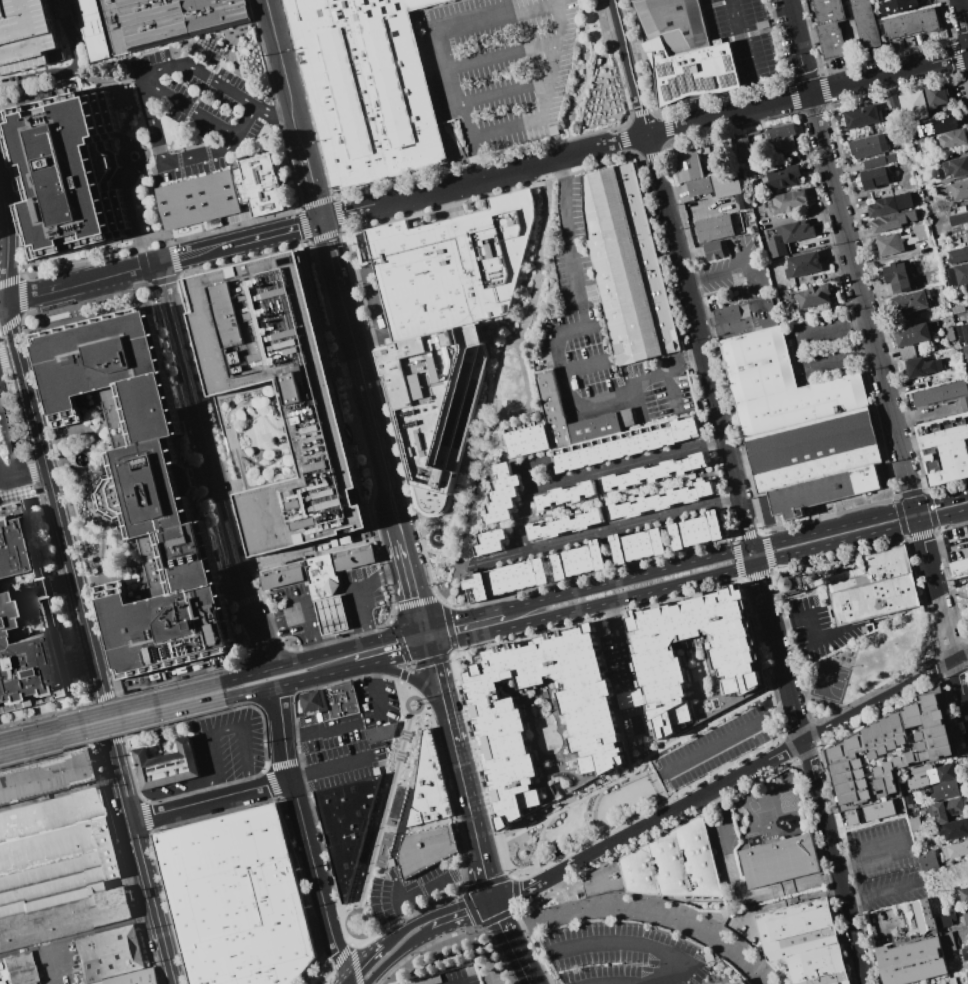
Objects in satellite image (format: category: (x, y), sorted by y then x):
road: (505, 6)
building: (897, 6)
road: (497, 14)
road: (964, 14)
building: (151, 22)
building: (865, 24)
building: (911, 24)
road: (582, 27)
building: (830, 27)
building: (24, 33)
parking lot: (24, 33)
road: (69, 34)
parking lot: (744, 37)
building: (682, 52)
road: (501, 54)
road: (740, 54)
road: (557, 63)
road: (628, 67)
road: (441, 68)
road: (287, 73)
road: (36, 74)
park: (590, 79)
road: (107, 80)
building: (368, 87)
road: (501, 93)
road: (806, 94)
building: (936, 94)
road: (579, 96)
building: (893, 101)
building: (914, 106)
road: (190, 108)
road: (273, 109)
parking lot: (192, 112)
road: (152, 116)
building: (861, 116)
building: (935, 127)
road: (486, 134)
building: (782, 135)
building: (952, 138)
building: (869, 145)
building: (775, 146)
building: (743, 148)
road: (593, 149)
fountain: (135, 158)
building: (874, 162)
building: (687, 165)
building: (956, 167)
building: (65, 172)
building: (783, 177)
building: (874, 177)
street lamp: (538, 181)
road: (314, 182)
building: (258, 185)
building: (706, 185)
building: (744, 185)
road: (432, 190)
building: (959, 190)
building: (196, 200)
building: (789, 201)
street lamp: (541, 204)
building: (889, 205)
traffic signals: (323, 218)
building: (958, 219)
building: (892, 221)
building: (715, 227)
road: (565, 230)
street lamp: (535, 232)
building: (967, 234)
building: (789, 236)
building: (901, 240)
road: (7, 245)
road: (331, 250)
building: (716, 250)
road: (537, 254)
building: (958, 255)
road: (163, 259)
street lamp: (532, 263)
building: (803, 264)
building: (626, 266)
building: (451, 267)
road: (731, 269)
building: (899, 275)
building: (958, 275)
street lamp: (529, 294)
building: (814, 296)
road: (20, 297)
road: (2, 300)
building: (911, 301)
road: (2, 303)
road: (578, 305)
building: (838, 307)
building: (958, 309)
road: (580, 311)
building: (751, 313)
road: (581, 318)
building: (907, 321)
street lamp: (519, 323)
building: (962, 333)
building: (950, 334)
building: (912, 335)
road: (515, 347)
street lamp: (501, 349)
building: (907, 352)
road: (791, 353)
building: (966, 354)
road: (876, 357)
road: (2, 360)
road: (8, 361)
road: (582, 364)
building: (922, 366)
road: (662, 369)
street lamp: (493, 375)
building: (967, 377)
building: (780, 385)
building: (943, 394)
road: (368, 400)
street lamp: (494, 400)
road: (573, 400)
building: (276, 403)
building: (434, 404)
building: (553, 410)
road: (922, 412)
road: (16, 414)
road: (9, 433)
building: (527, 438)
road: (723, 438)
building: (624, 444)
building: (944, 448)
building: (812, 449)
road: (481, 456)
street lamp: (480, 457)
fountain: (79, 459)
road: (209, 466)
road: (34, 473)
road: (594, 473)
building: (655, 473)
road: (31, 474)
road: (11, 480)
street lamp: (470, 485)
building: (140, 490)
building: (823, 491)
road: (17, 492)
building: (501, 495)
building: (566, 495)
building: (661, 500)
street lamp: (459, 505)
road: (68, 506)
traffic signals: (914, 508)
road: (454, 510)
traffic signals: (918, 520)
road: (438, 521)
building: (565, 525)
building: (695, 530)
road: (604, 531)
road: (400, 532)
road: (411, 534)
road: (946, 541)
building: (489, 542)
building: (637, 544)
road: (455, 549)
road: (734, 552)
road: (460, 553)
building: (353, 559)
building: (578, 560)
building: (958, 569)
road: (427, 573)
building: (301, 577)
road: (698, 577)
building: (506, 578)
water tower: (791, 584)
building: (791, 585)
road: (413, 588)
building: (875, 588)
road: (62, 595)
road: (415, 601)
park: (963, 608)
road: (391, 614)
building: (26, 619)
road: (462, 619)
road: (813, 627)
traffic signals: (424, 628)
road: (426, 637)
road: (398, 642)
road: (613, 642)
road: (88, 643)
road: (350, 647)
traffic signals: (429, 647)
road: (451, 651)
road: (400, 654)
building: (694, 658)
road: (244, 665)
road: (363, 665)
park: (867, 665)
road: (404, 667)
road: (247, 675)
road: (315, 676)
road: (401, 676)
road: (411, 677)
road: (403, 690)
road: (248, 692)
road: (374, 692)
road: (966, 695)
road: (440, 696)
road: (885, 697)
road: (107, 698)
building: (627, 699)
building: (329, 702)
road: (405, 705)
road: (421, 705)
road: (415, 710)
street lamp: (403, 717)
road: (110, 718)
road: (217, 720)
building: (540, 720)
building: (378, 733)
road: (724, 738)
road: (363, 741)
road: (111, 742)
building: (859, 749)
street lamp: (392, 761)
road: (640, 764)
building: (166, 765)
road: (132, 767)
building: (46, 775)
building: (924, 776)
building: (428, 786)
road: (180, 789)
building: (945, 790)
road: (145, 795)
building: (908, 800)
road: (212, 801)
road: (467, 804)
road: (144, 809)
building: (896, 809)
building: (947, 809)
road: (383, 810)
street lamp: (378, 811)
park: (583, 817)
building: (860, 818)
park: (390, 821)
road: (647, 822)
building: (915, 824)
building: (345, 825)
road: (115, 829)
building: (954, 829)
road: (305, 835)
building: (54, 847)
building: (424, 850)
building: (955, 850)
road: (872, 855)
building: (928, 860)
road: (835, 861)
building: (779, 863)
building: (664, 866)
street lamp: (359, 882)
road: (487, 882)
road: (883, 893)
road: (739, 894)
road: (411, 895)
building: (963, 896)
building: (239, 899)
road: (775, 903)
road: (458, 909)
street lamp: (345, 910)
road: (644, 911)
road: (350, 912)
road: (336, 914)
building: (64, 915)
building: (924, 915)
building: (965, 916)
building: (945, 920)
road: (347, 927)
road: (82, 933)
road: (359, 935)
road: (351, 939)
road: (371, 940)
road: (510, 942)
road: (632, 942)
building: (948, 942)
road: (382, 944)
building: (806, 944)
road: (350, 950)
road: (397, 953)
building: (109, 954)
building: (965, 954)
parking lot: (622, 955)
building: (911, 960)
building: (967, 969)
building: (19, 971)
road: (323, 975)
building: (131, 978)
parking lot: (450, 978)
building: (952, 980)
building: (743, 983)

